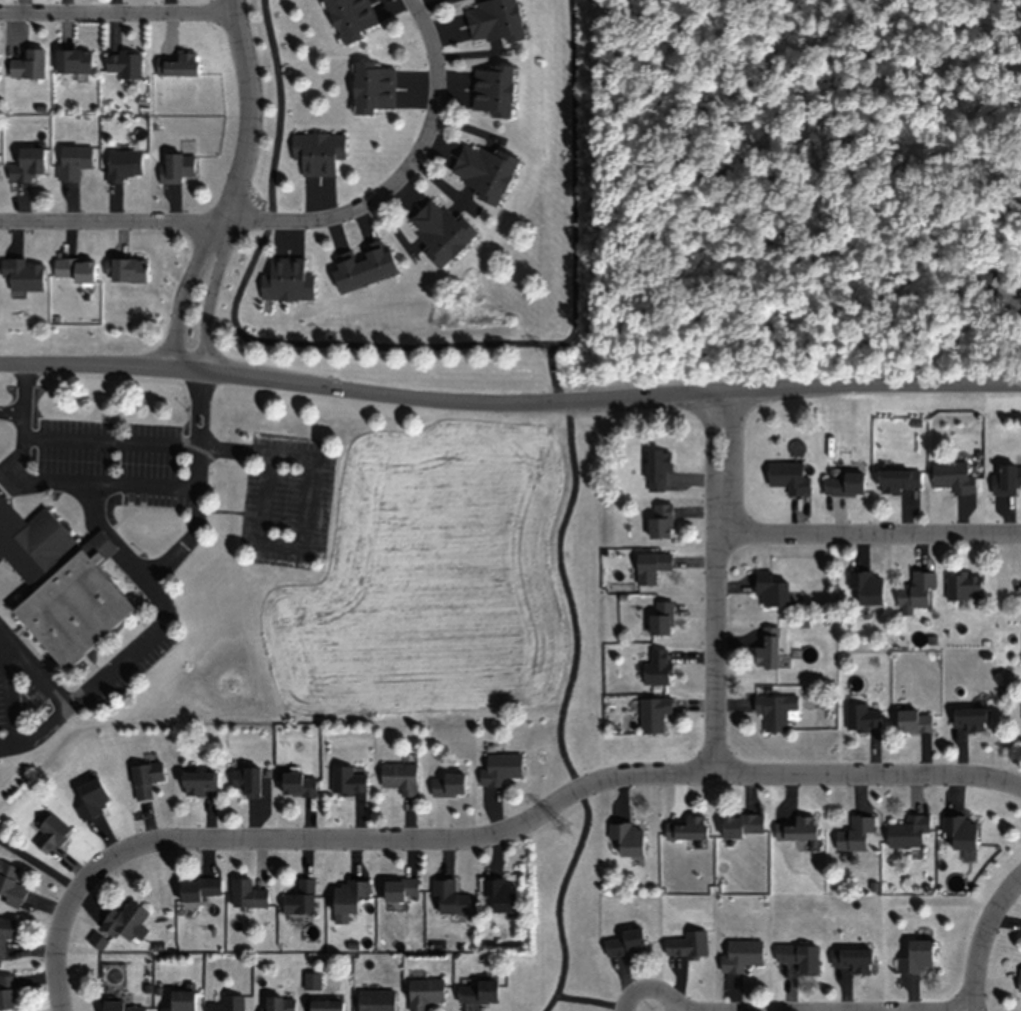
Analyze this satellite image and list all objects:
road: (116, 11)
building: (345, 17)
building: (492, 20)
building: (73, 61)
building: (124, 63)
building: (28, 64)
building: (176, 64)
building: (371, 87)
building: (495, 90)
road: (426, 119)
building: (317, 151)
building: (73, 160)
building: (27, 163)
building: (122, 164)
building: (175, 166)
building: (484, 174)
road: (233, 190)
road: (173, 220)
building: (436, 233)
building: (362, 265)
building: (74, 268)
building: (128, 269)
building: (23, 273)
building: (285, 280)
power tower: (568, 371)
road: (200, 395)
road: (509, 406)
road: (198, 411)
road: (81, 440)
building: (658, 468)
building: (789, 477)
building: (953, 477)
building: (899, 479)
building: (1007, 479)
road: (34, 481)
road: (139, 483)
building: (845, 483)
road: (309, 493)
building: (660, 521)
road: (867, 537)
building: (651, 566)
building: (60, 582)
road: (713, 585)
building: (867, 585)
building: (963, 585)
building: (772, 590)
building: (916, 591)
building: (661, 618)
building: (767, 648)
road: (32, 667)
building: (658, 667)
road: (102, 673)
building: (775, 710)
building: (654, 713)
building: (862, 717)
building: (969, 718)
building: (914, 720)
building: (500, 767)
building: (399, 777)
building: (145, 778)
building: (246, 780)
building: (347, 780)
building: (196, 782)
building: (298, 783)
building: (447, 784)
building: (91, 798)
road: (542, 811)
building: (742, 825)
power tower: (565, 826)
building: (687, 827)
building: (797, 828)
building: (961, 829)
building: (908, 830)
building: (50, 832)
building: (855, 833)
building: (628, 837)
road: (36, 862)
building: (10, 886)
building: (199, 888)
building: (400, 890)
building: (247, 893)
building: (501, 893)
building: (300, 897)
building: (448, 897)
building: (347, 898)
building: (124, 920)
building: (6, 932)
building: (625, 942)
building: (687, 944)
road: (985, 944)
road: (57, 949)
building: (741, 955)
building: (799, 956)
building: (917, 956)
building: (851, 959)
building: (1019, 979)
building: (477, 991)
building: (7, 992)
building: (424, 992)
building: (180, 1000)
building: (375, 1000)
building: (227, 1003)
building: (277, 1003)
building: (324, 1005)
building: (120, 1006)

